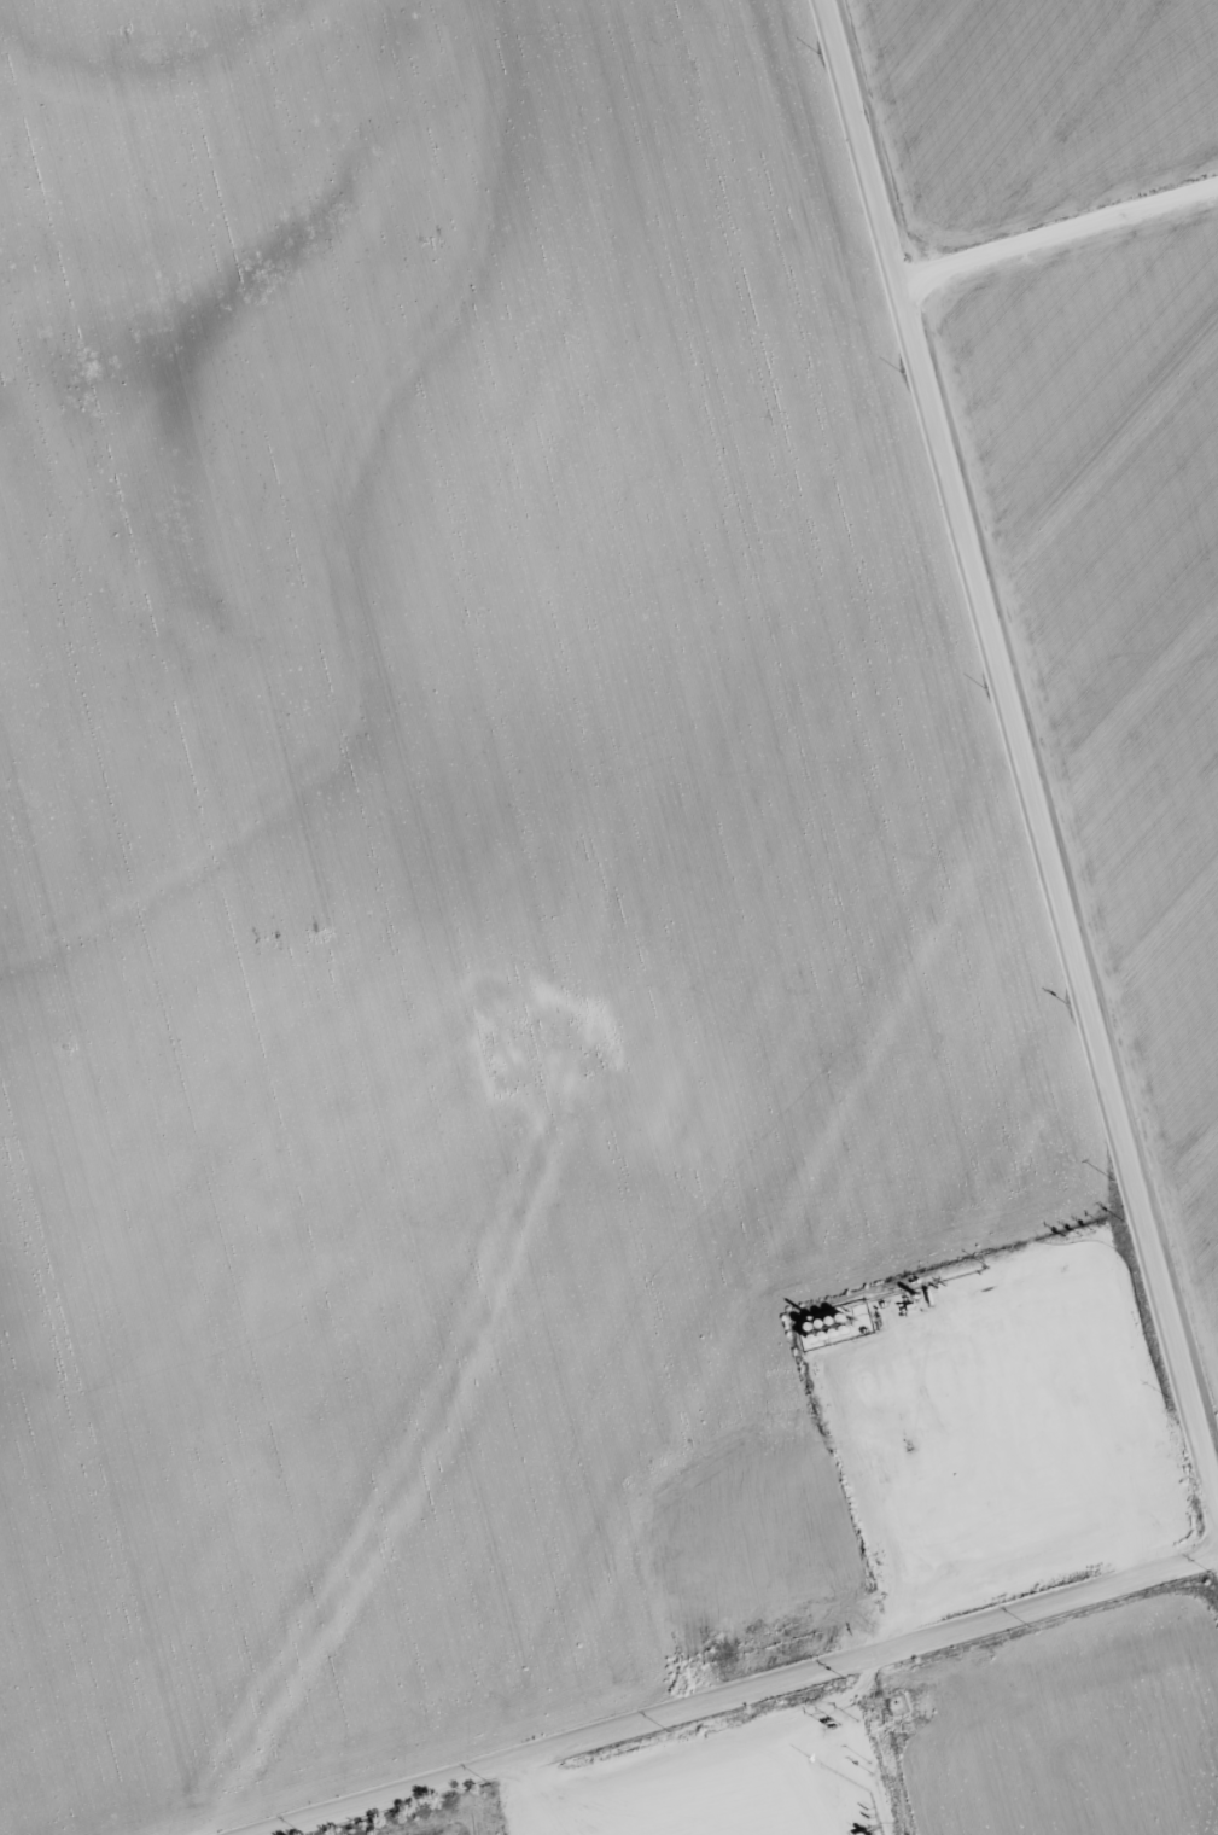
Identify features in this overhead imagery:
building: (261, 717)
road: (1018, 759)
road: (750, 1699)

